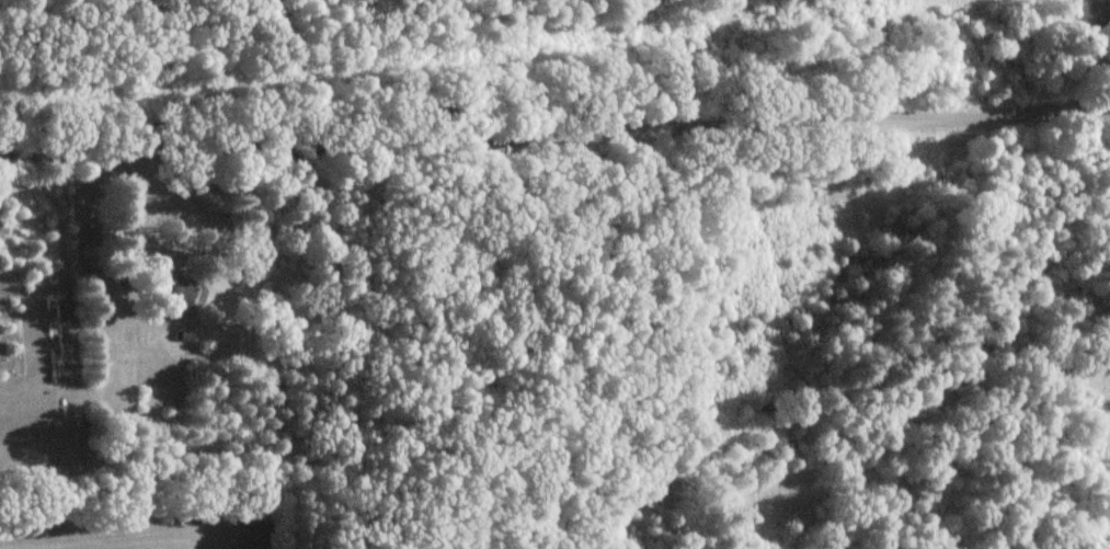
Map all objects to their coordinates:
road: (1088, 54)
road: (554, 127)
building: (179, 294)

